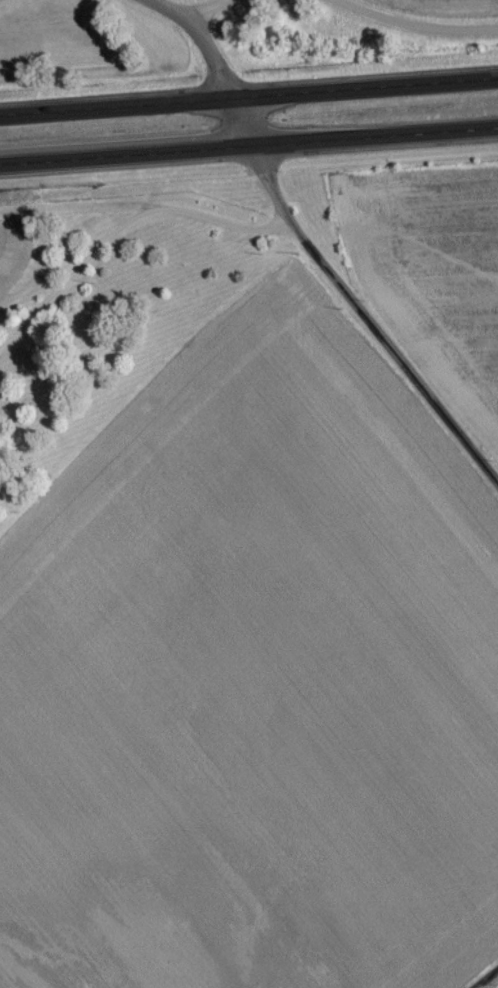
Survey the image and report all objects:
road: (166, 12)
road: (214, 12)
road: (409, 32)
road: (248, 97)
road: (248, 147)
road: (126, 233)
road: (320, 274)
road: (491, 983)

